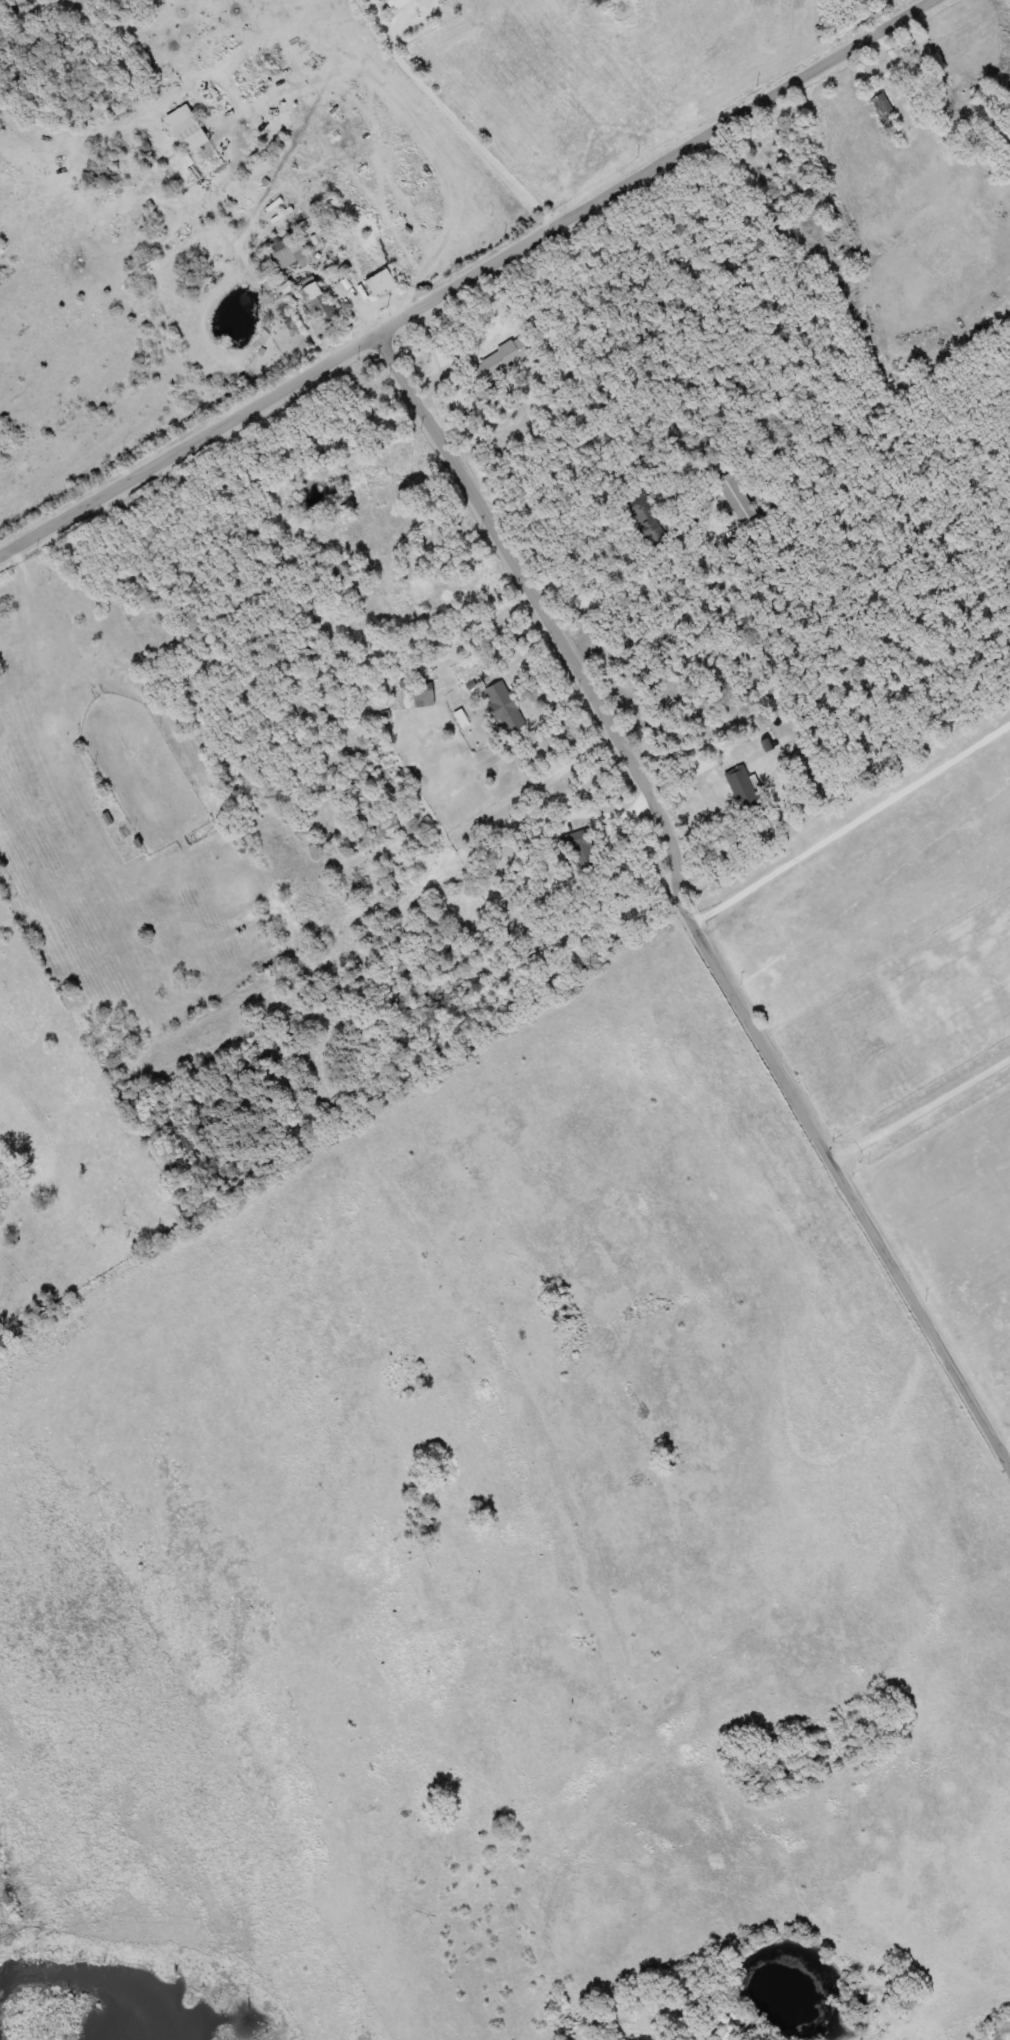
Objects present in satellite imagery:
building: (396, 3)
building: (884, 107)
building: (186, 129)
building: (101, 163)
building: (357, 250)
building: (288, 251)
building: (145, 259)
road: (467, 278)
building: (380, 283)
building: (322, 304)
building: (501, 360)
building: (735, 498)
building: (649, 523)
building: (423, 695)
building: (505, 707)
building: (745, 794)
road: (673, 828)
building: (578, 842)

